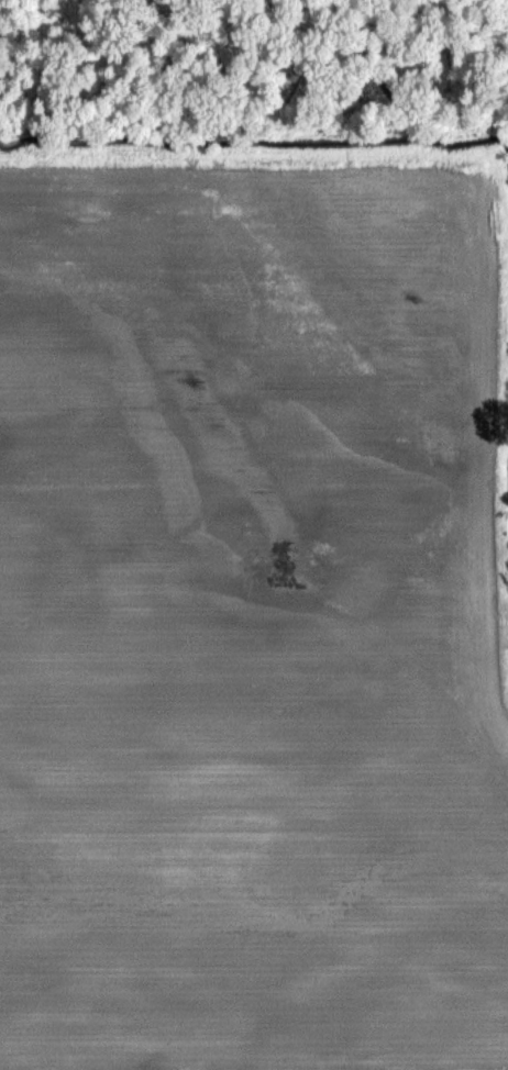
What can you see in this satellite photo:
crop: (254, 594)

